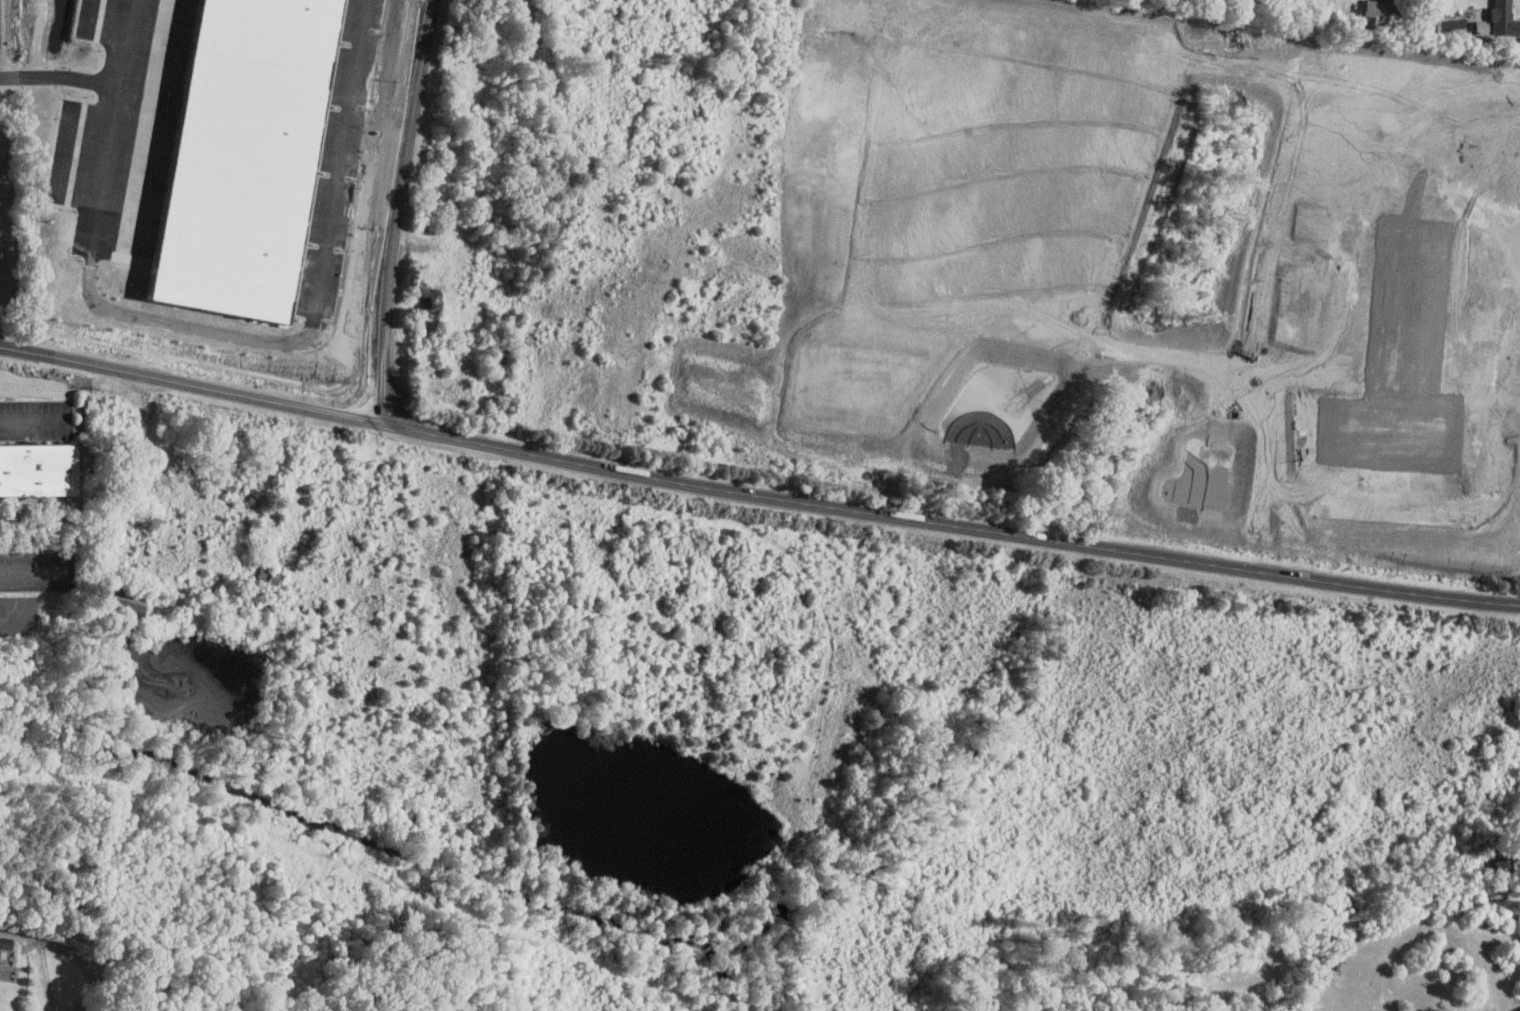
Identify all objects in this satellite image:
building: (1383, 9)
building: (1500, 20)
road: (123, 44)
road: (397, 209)
road: (202, 330)
road: (33, 418)
building: (38, 469)
road: (757, 493)
road: (14, 932)
road: (36, 938)
road: (94, 964)
road: (49, 979)

